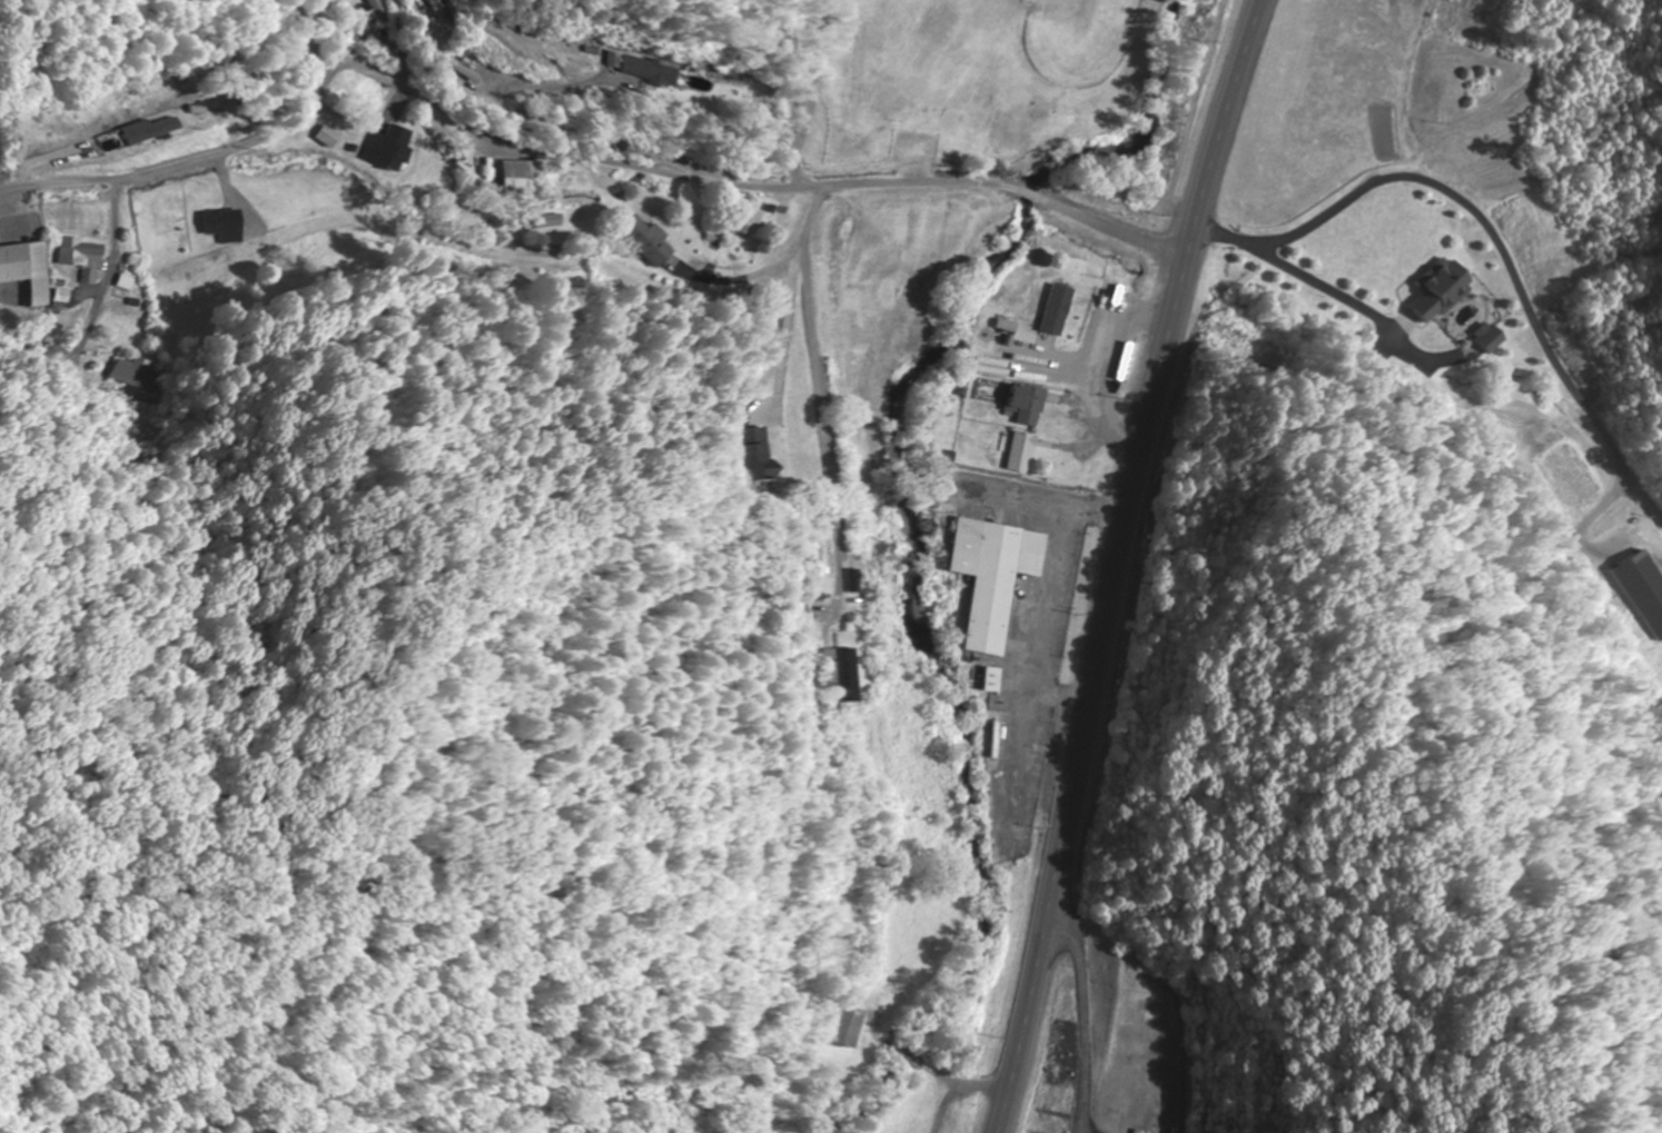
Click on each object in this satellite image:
building: (376, 10)
road: (327, 33)
building: (651, 71)
road: (1403, 95)
building: (328, 138)
building: (386, 149)
road: (571, 160)
building: (513, 178)
building: (735, 218)
building: (220, 225)
building: (639, 240)
road: (1478, 250)
building: (77, 258)
building: (23, 269)
building: (1443, 289)
building: (1048, 312)
building: (1491, 338)
building: (1015, 358)
building: (131, 376)
road: (819, 388)
building: (1026, 405)
building: (1020, 453)
building: (758, 455)
road: (1127, 524)
building: (821, 569)
building: (990, 576)
building: (1643, 590)
building: (837, 675)
building: (988, 680)
building: (847, 1027)
road: (1000, 1092)

